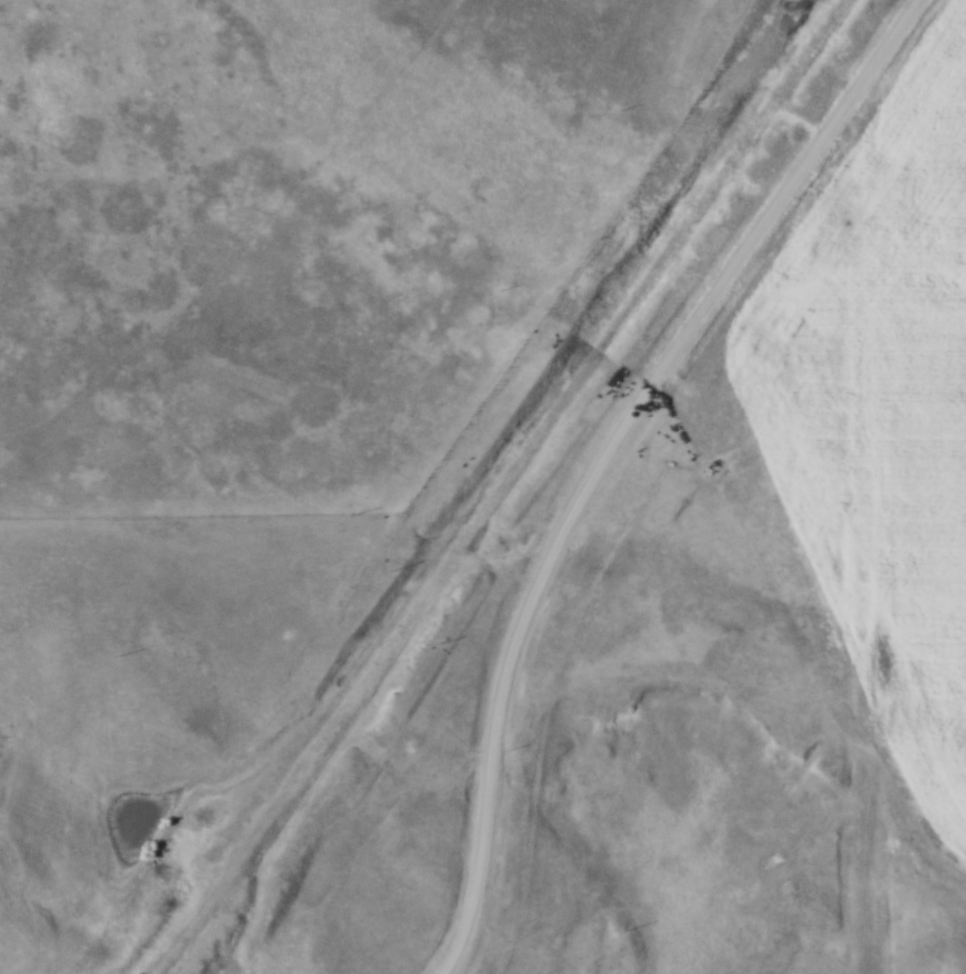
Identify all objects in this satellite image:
road: (610, 455)
railway: (507, 496)

